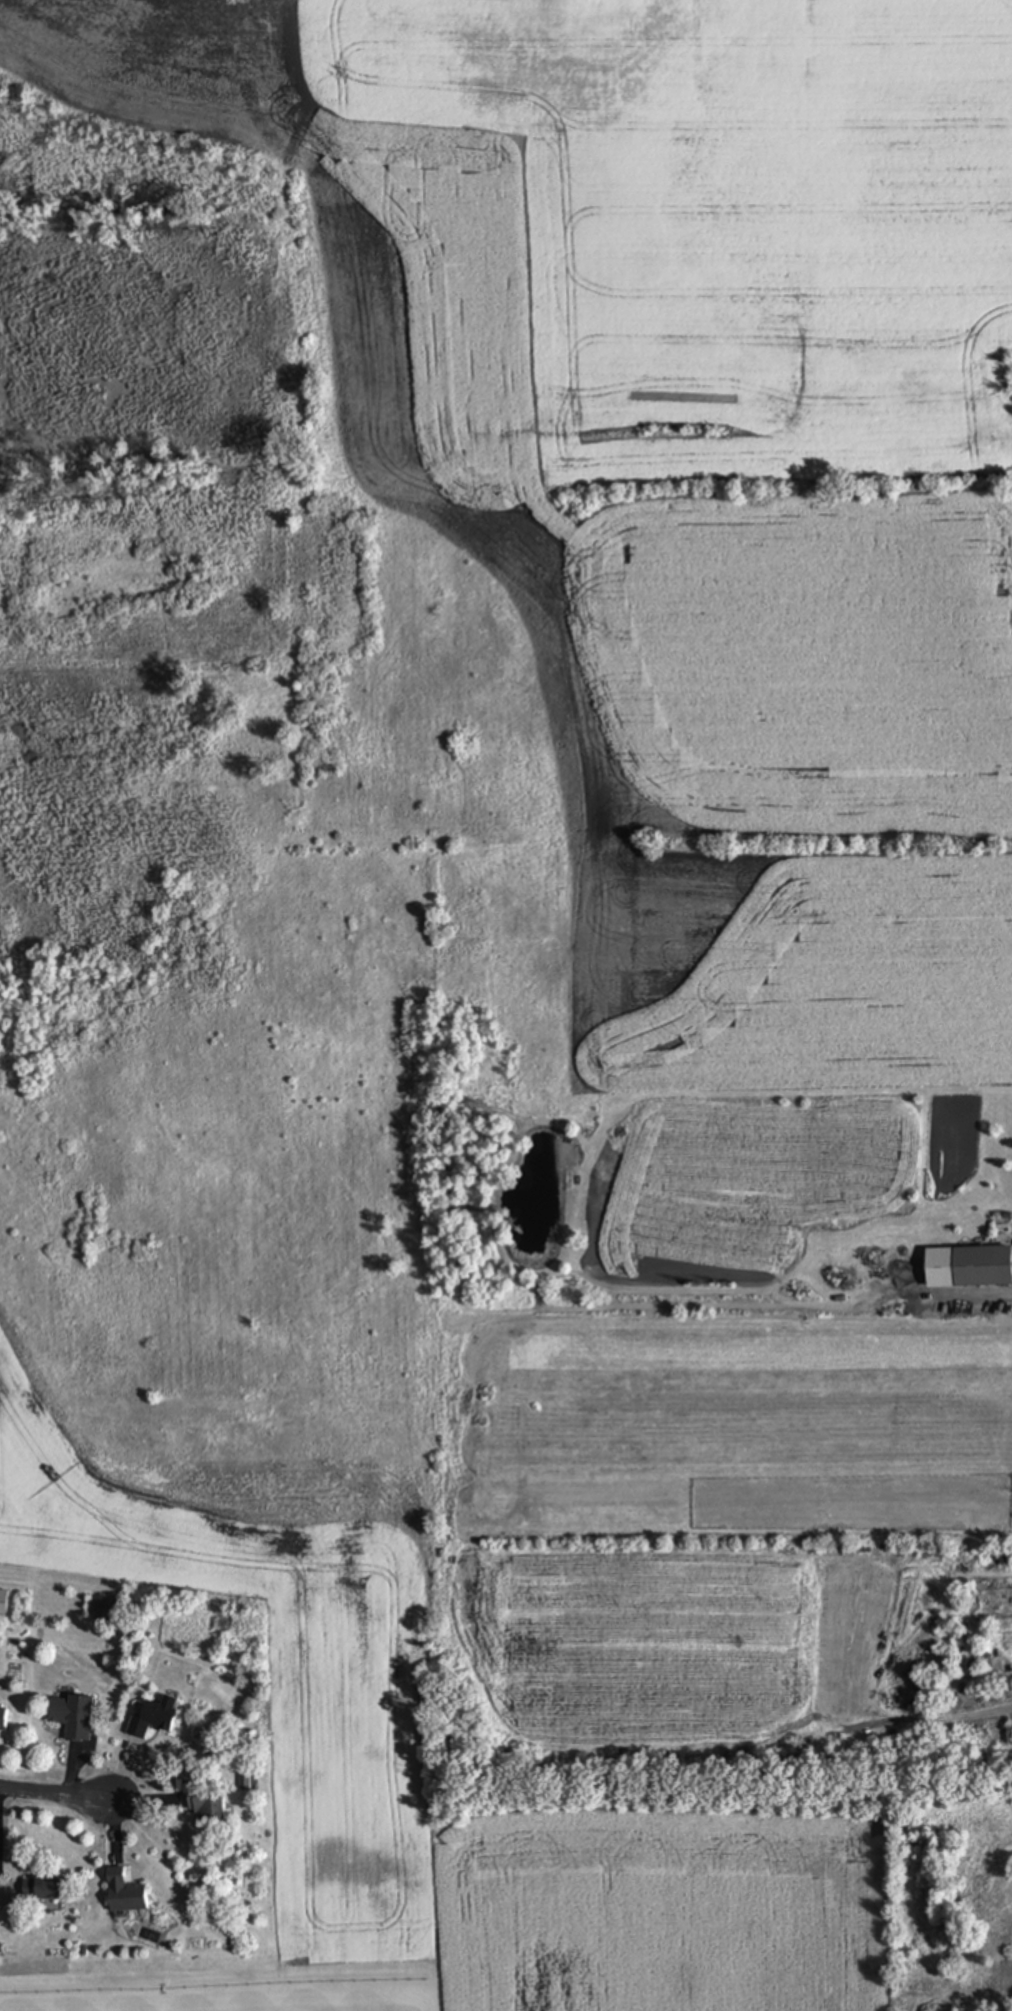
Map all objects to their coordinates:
building: (969, 1269)
building: (73, 1717)
building: (3, 1718)
building: (152, 1720)
road: (55, 1791)
building: (206, 1803)
building: (42, 1889)
building: (125, 1893)

